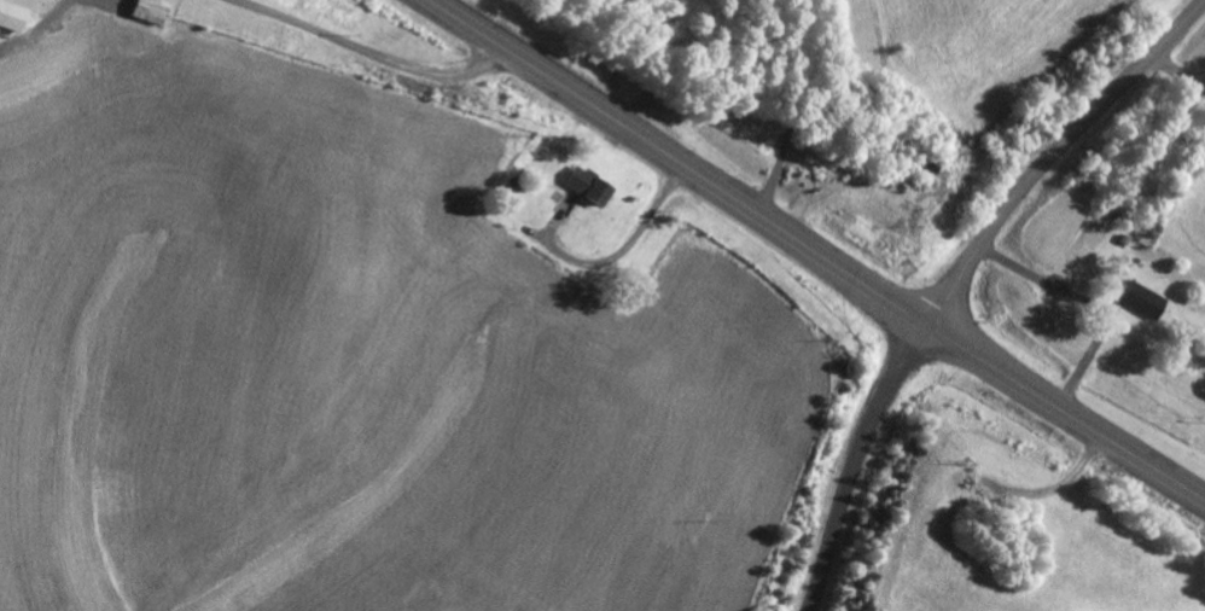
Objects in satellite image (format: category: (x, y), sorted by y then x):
building: (17, 14)
road: (1056, 155)
building: (593, 185)
road: (817, 251)
building: (1146, 298)
road: (866, 464)

